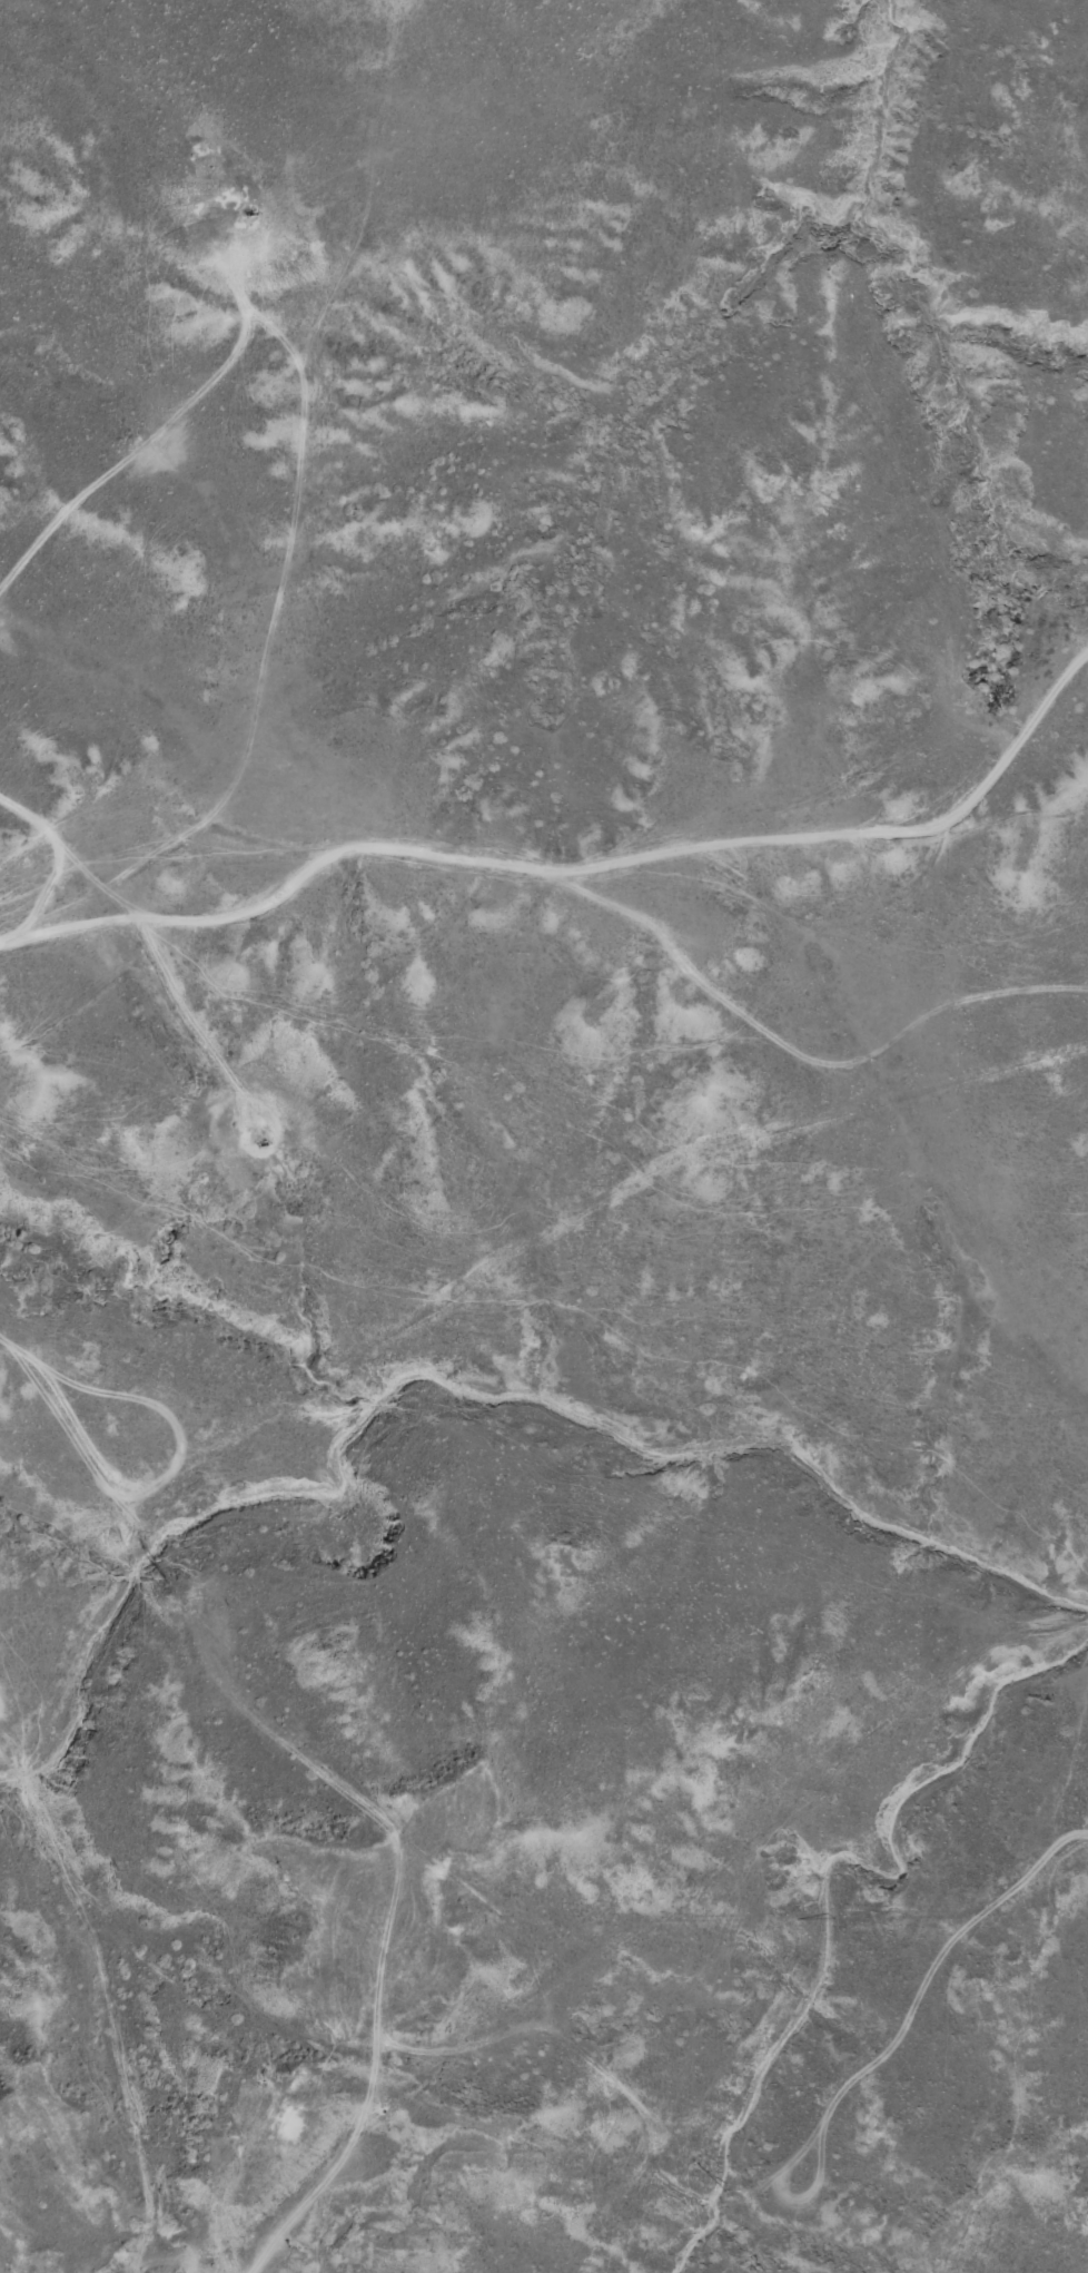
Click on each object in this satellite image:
road: (603, 840)

